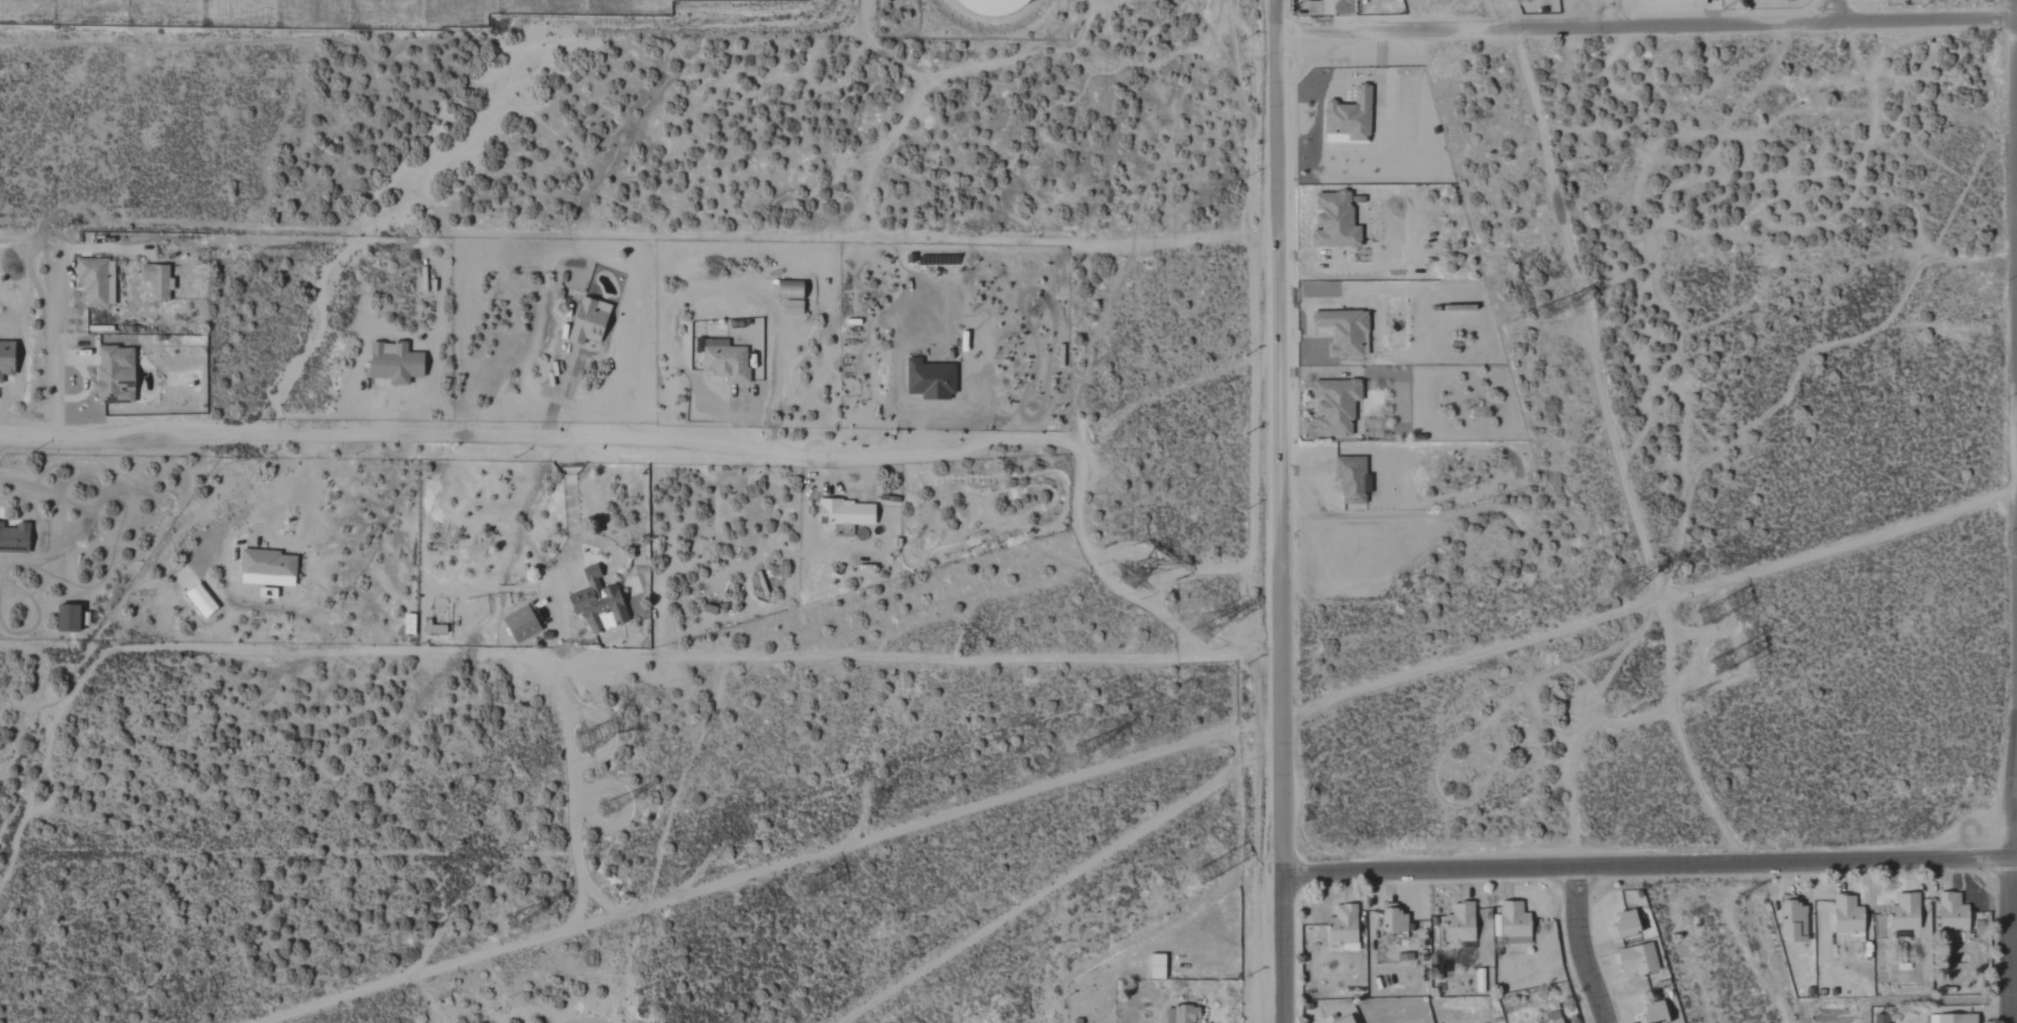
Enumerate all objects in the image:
building: (992, 6)
road: (1835, 9)
road: (1623, 15)
road: (1648, 28)
building: (1350, 117)
building: (1333, 221)
road: (26, 234)
road: (665, 235)
building: (96, 281)
building: (156, 281)
power tower: (1576, 304)
building: (792, 307)
power tower: (1555, 313)
building: (589, 321)
road: (52, 331)
building: (1345, 332)
building: (6, 359)
building: (394, 364)
building: (113, 376)
road: (84, 379)
building: (930, 380)
road: (556, 394)
building: (1335, 406)
road: (607, 439)
road: (571, 502)
road: (1278, 511)
building: (847, 515)
road: (268, 516)
building: (14, 538)
building: (267, 568)
power tower: (1134, 574)
road: (1164, 575)
power tower: (1631, 584)
building: (201, 601)
building: (599, 604)
power tower: (1717, 610)
building: (67, 619)
building: (519, 622)
building: (408, 624)
power tower: (1214, 626)
building: (430, 629)
road: (1202, 650)
power tower: (1733, 659)
power tower: (1684, 695)
power tower: (597, 737)
power tower: (1088, 746)
power tower: (616, 806)
road: (2015, 817)
road: (1647, 868)
power tower: (1210, 881)
power tower: (817, 889)
power tower: (1743, 904)
building: (1905, 912)
building: (1952, 913)
building: (1848, 915)
building: (1794, 920)
building: (1394, 923)
building: (1460, 923)
building: (1514, 923)
building: (1625, 924)
road: (1580, 946)
building: (1638, 959)
building: (1157, 966)
building: (1655, 1013)
building: (1180, 1015)
building: (1881, 1018)
building: (1952, 1018)
building: (1344, 1020)
building: (1554, 1021)

